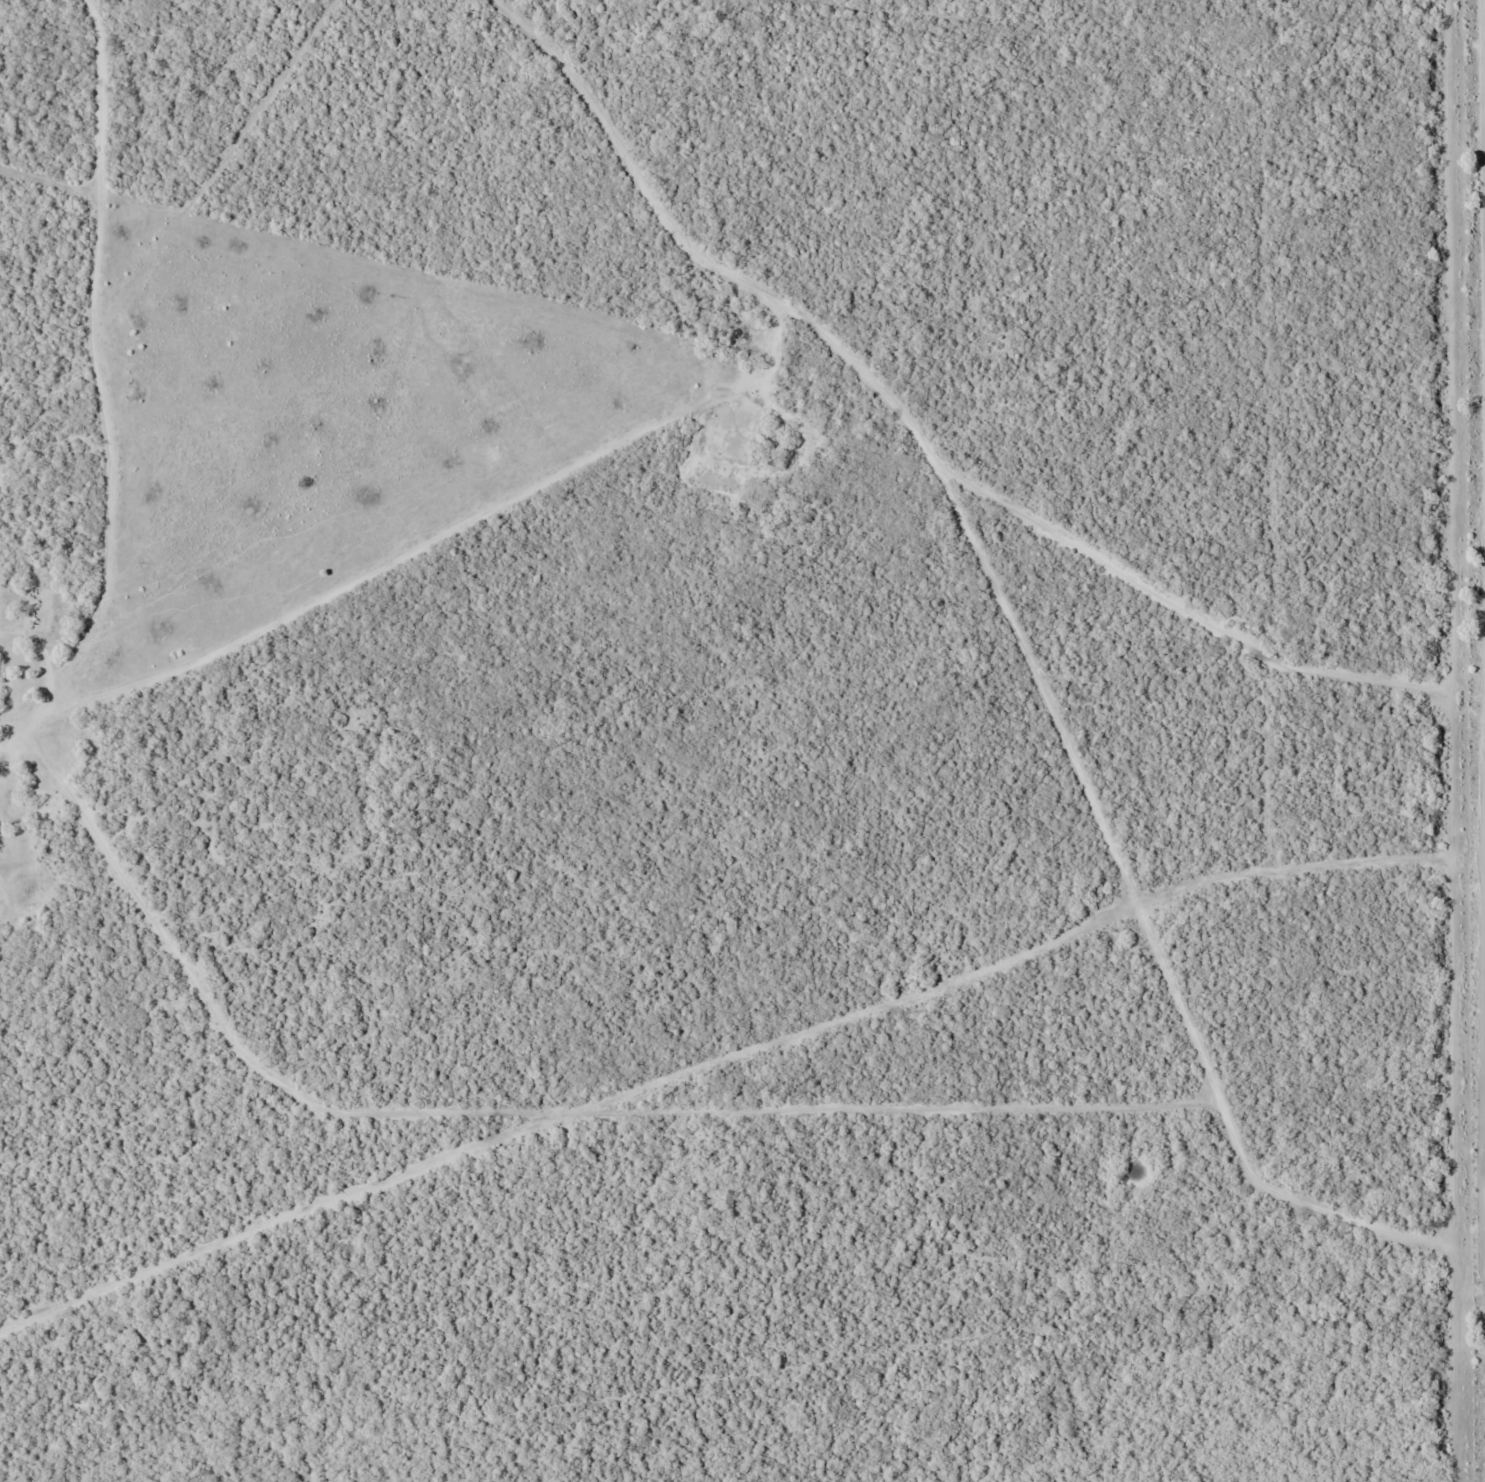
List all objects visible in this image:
road: (521, 21)
road: (578, 21)
road: (1289, 321)
road: (105, 383)
road: (970, 548)

